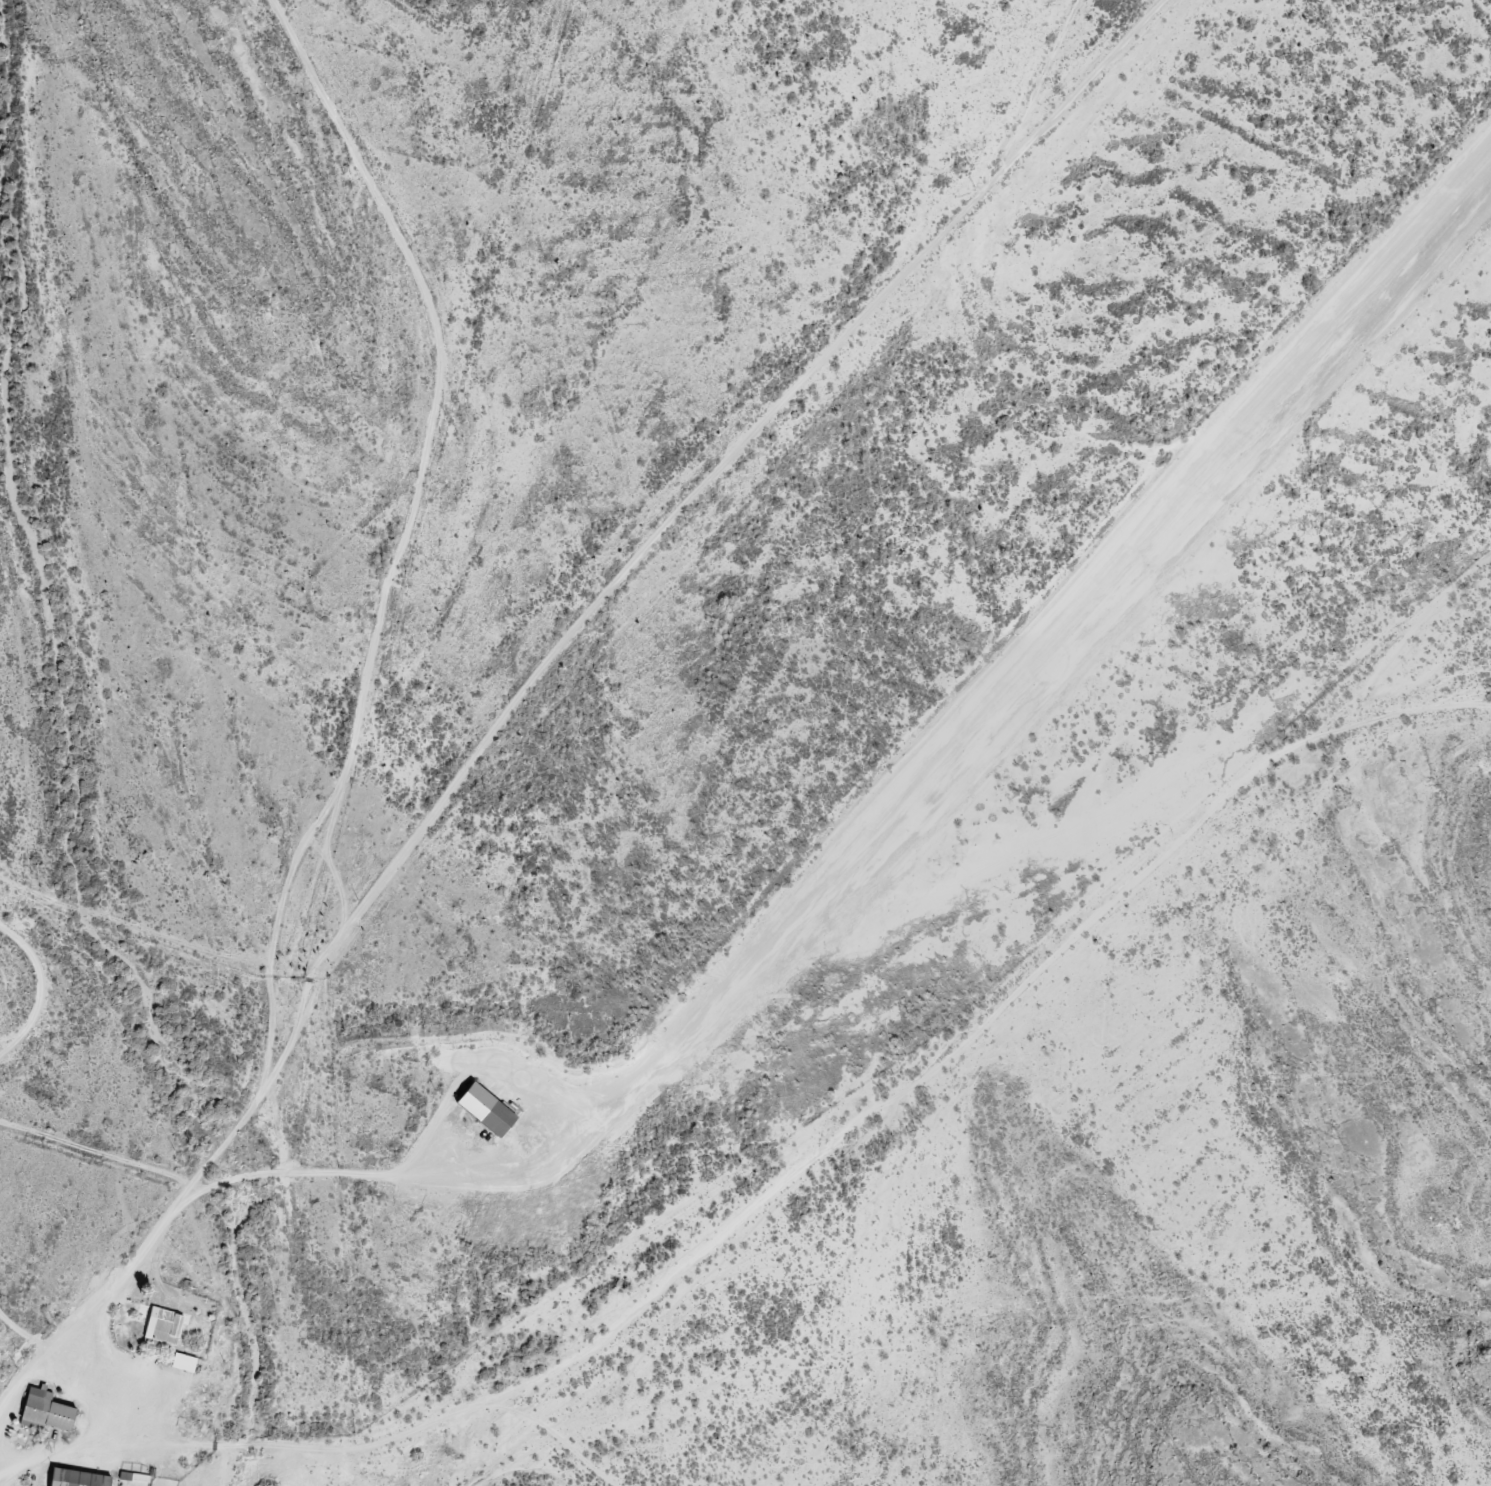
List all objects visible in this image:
road: (1155, 27)
road: (1255, 103)
road: (430, 498)
airport runway: (1107, 578)
road: (549, 707)
road: (1396, 727)
building: (486, 1111)
road: (805, 1135)
building: (163, 1331)
building: (47, 1414)
road: (518, 1447)
building: (77, 1479)

